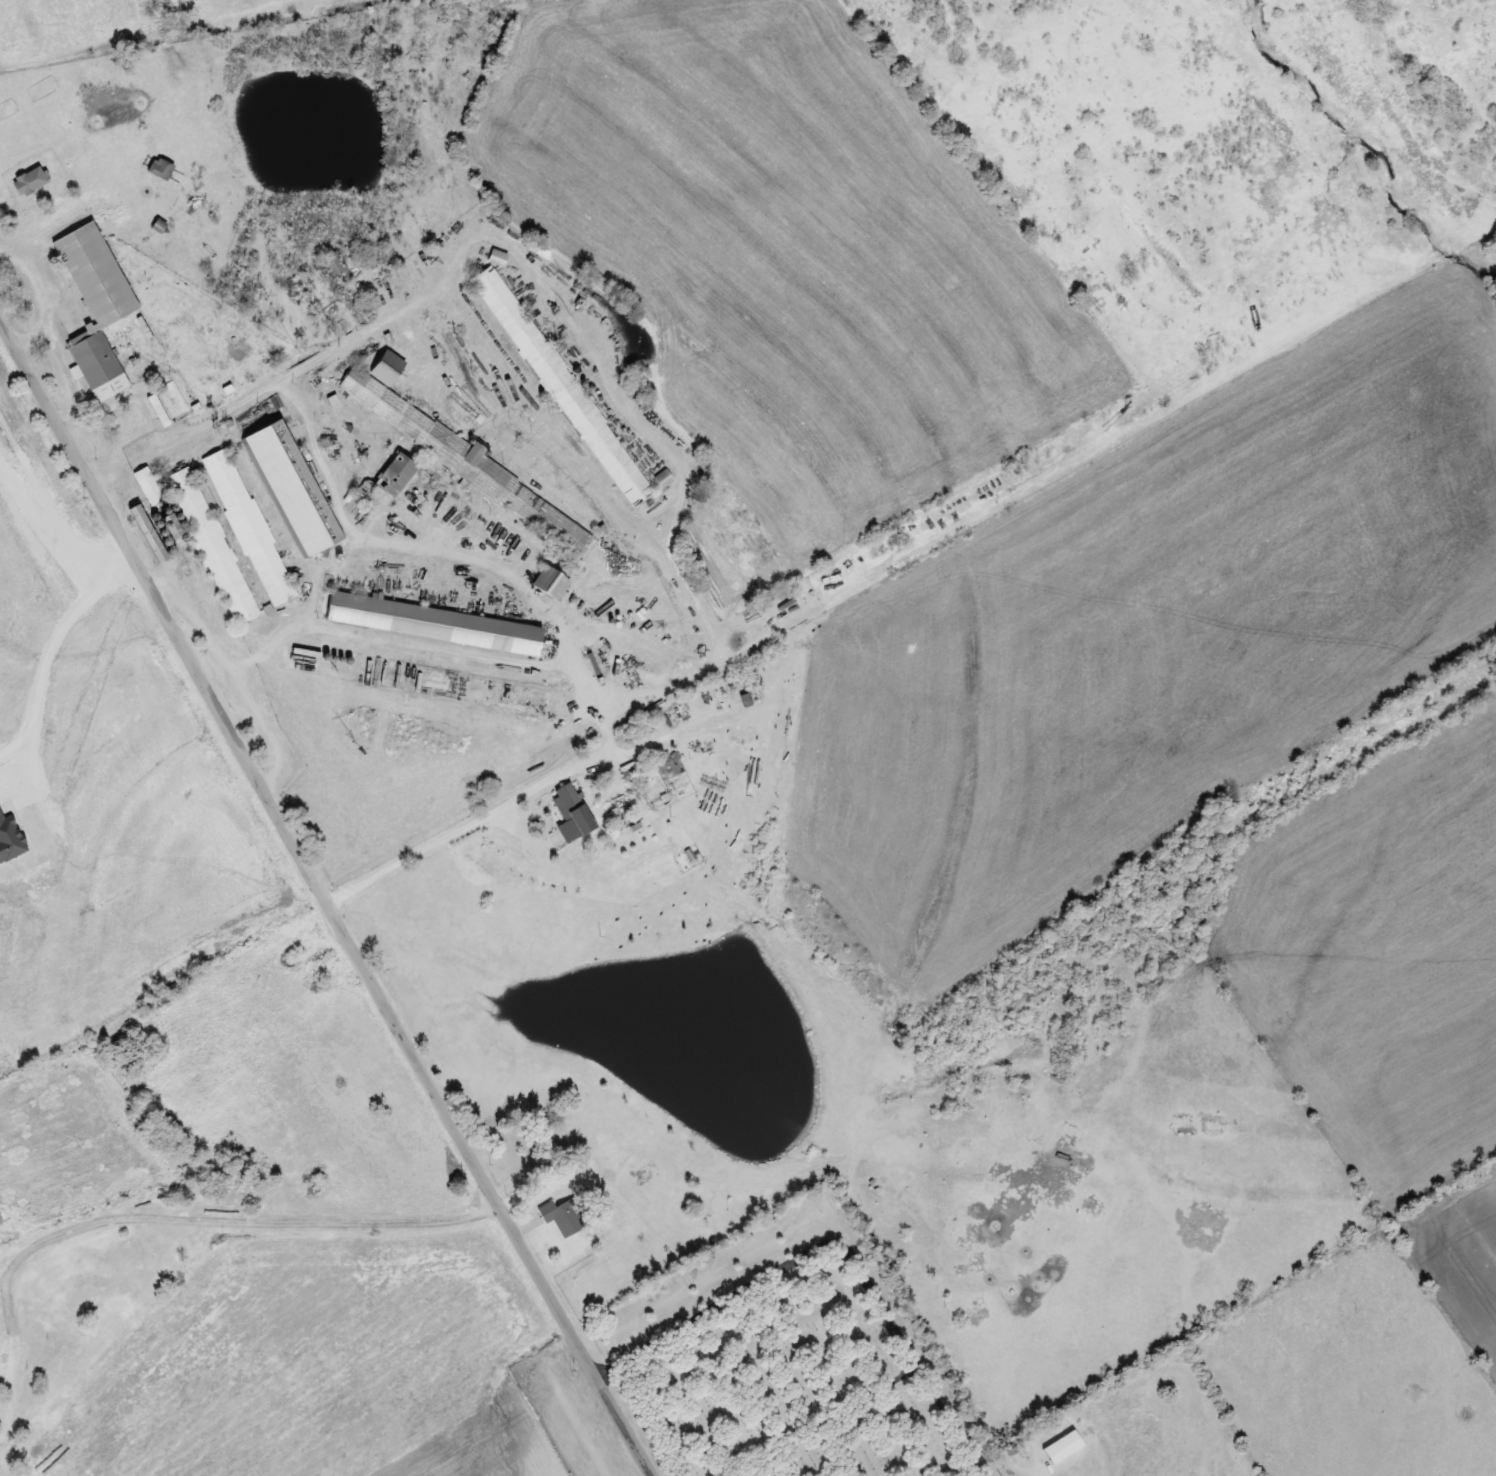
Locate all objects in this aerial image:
building: (498, 256)
building: (336, 264)
building: (299, 278)
building: (95, 306)
building: (360, 307)
building: (562, 384)
building: (465, 456)
building: (664, 477)
building: (148, 485)
building: (292, 485)
building: (248, 525)
building: (212, 544)
building: (549, 582)
building: (431, 622)
building: (571, 812)
road: (328, 898)
building: (563, 1215)
road: (243, 1220)
building: (695, 1221)

